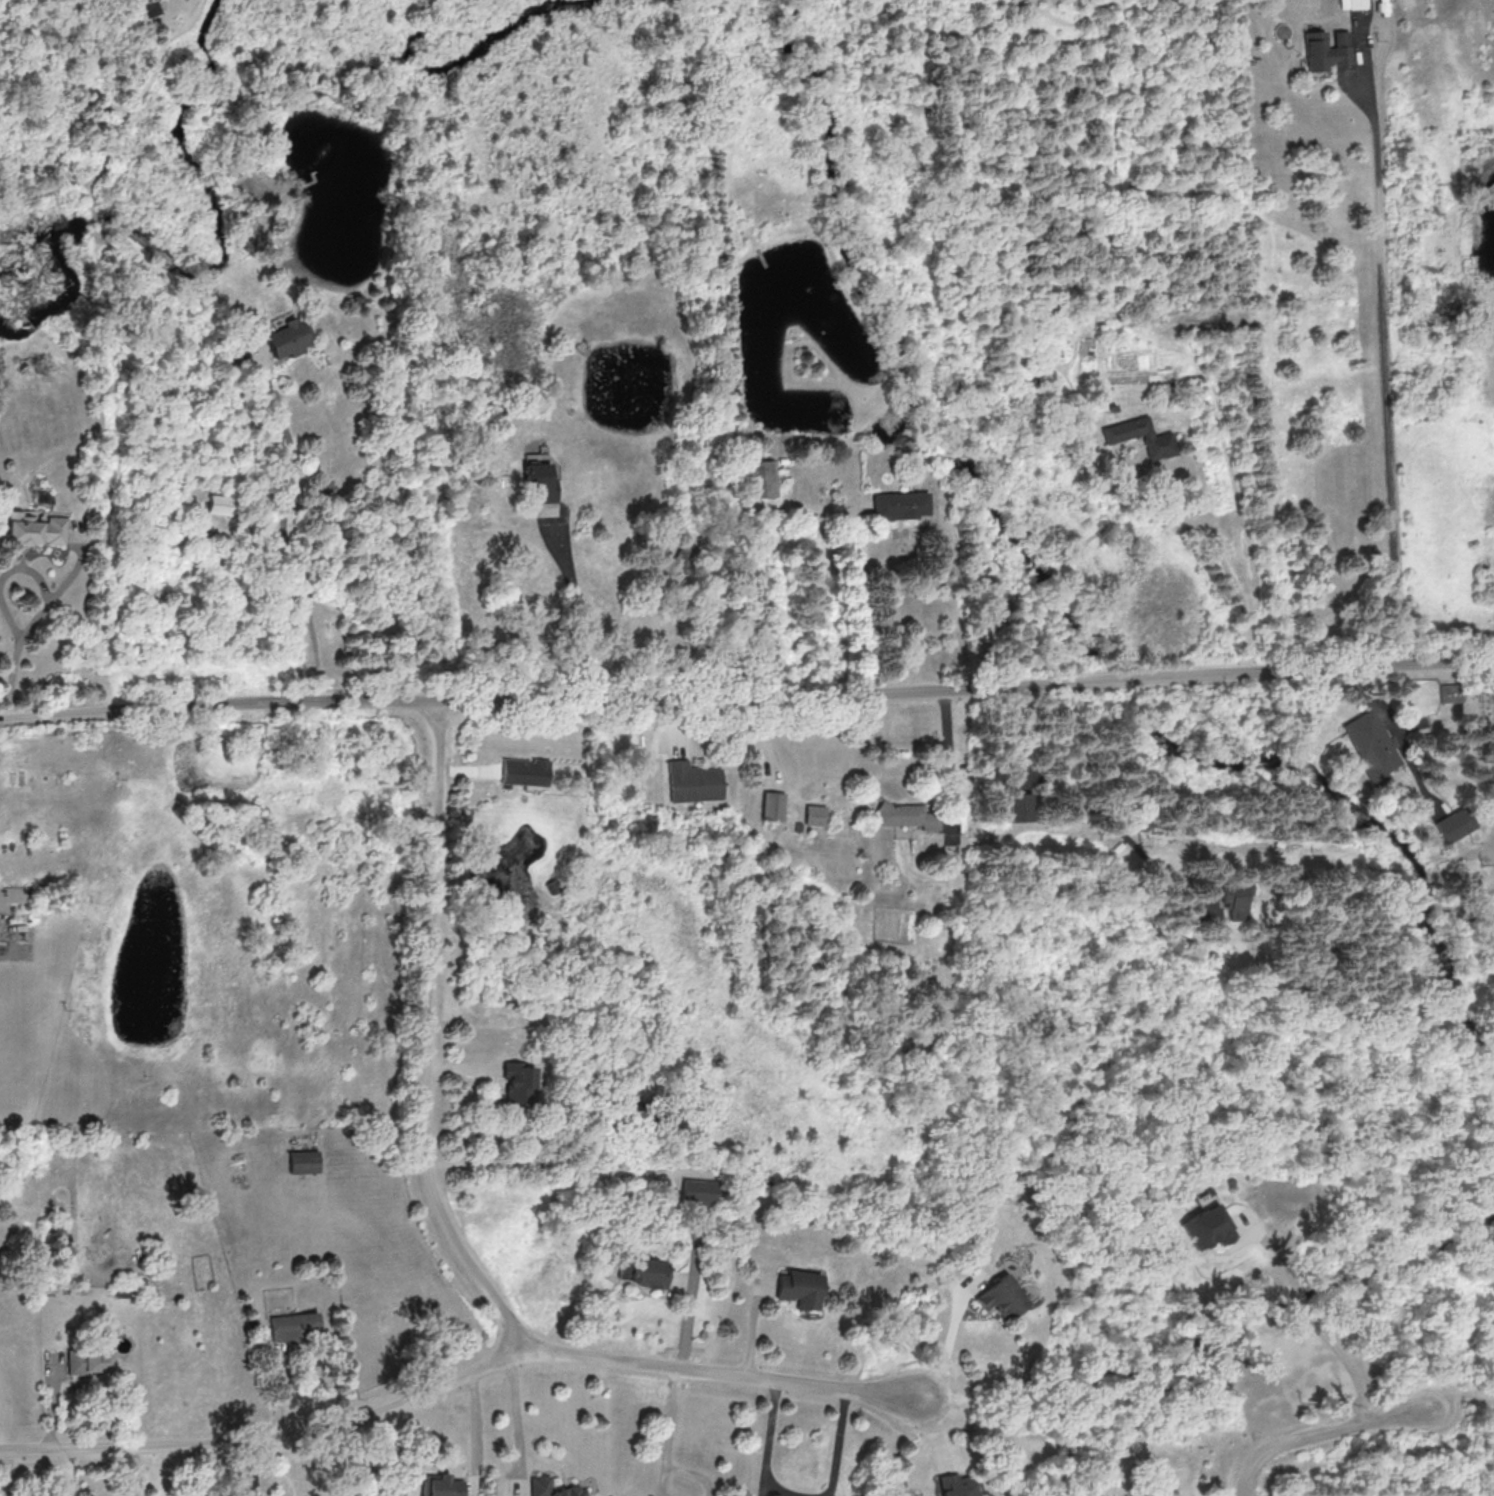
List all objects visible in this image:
building: (1352, 4)
building: (153, 8)
building: (1326, 49)
building: (288, 338)
road: (1387, 369)
building: (1160, 439)
building: (767, 476)
building: (539, 482)
building: (219, 504)
building: (901, 505)
building: (34, 529)
road: (286, 536)
road: (1223, 557)
road: (5, 579)
road: (860, 604)
road: (573, 616)
road: (34, 623)
building: (1450, 692)
road: (747, 700)
road: (1374, 705)
building: (1372, 745)
road: (949, 747)
building: (524, 771)
building: (693, 782)
building: (772, 805)
building: (1020, 807)
road: (1095, 810)
building: (815, 814)
building: (909, 814)
building: (1456, 824)
building: (12, 894)
road: (427, 1039)
building: (518, 1083)
building: (304, 1161)
building: (699, 1191)
building: (1208, 1227)
road: (1284, 1257)
building: (645, 1272)
building: (800, 1288)
road: (691, 1291)
building: (1003, 1297)
road: (1303, 1298)
building: (295, 1325)
road: (955, 1343)
road: (1347, 1360)
building: (91, 1361)
road: (459, 1382)
road: (516, 1412)
road: (670, 1432)
road: (477, 1436)
road: (1324, 1437)
road: (840, 1445)
road: (769, 1448)
building: (442, 1486)
building: (959, 1486)
building: (552, 1488)

